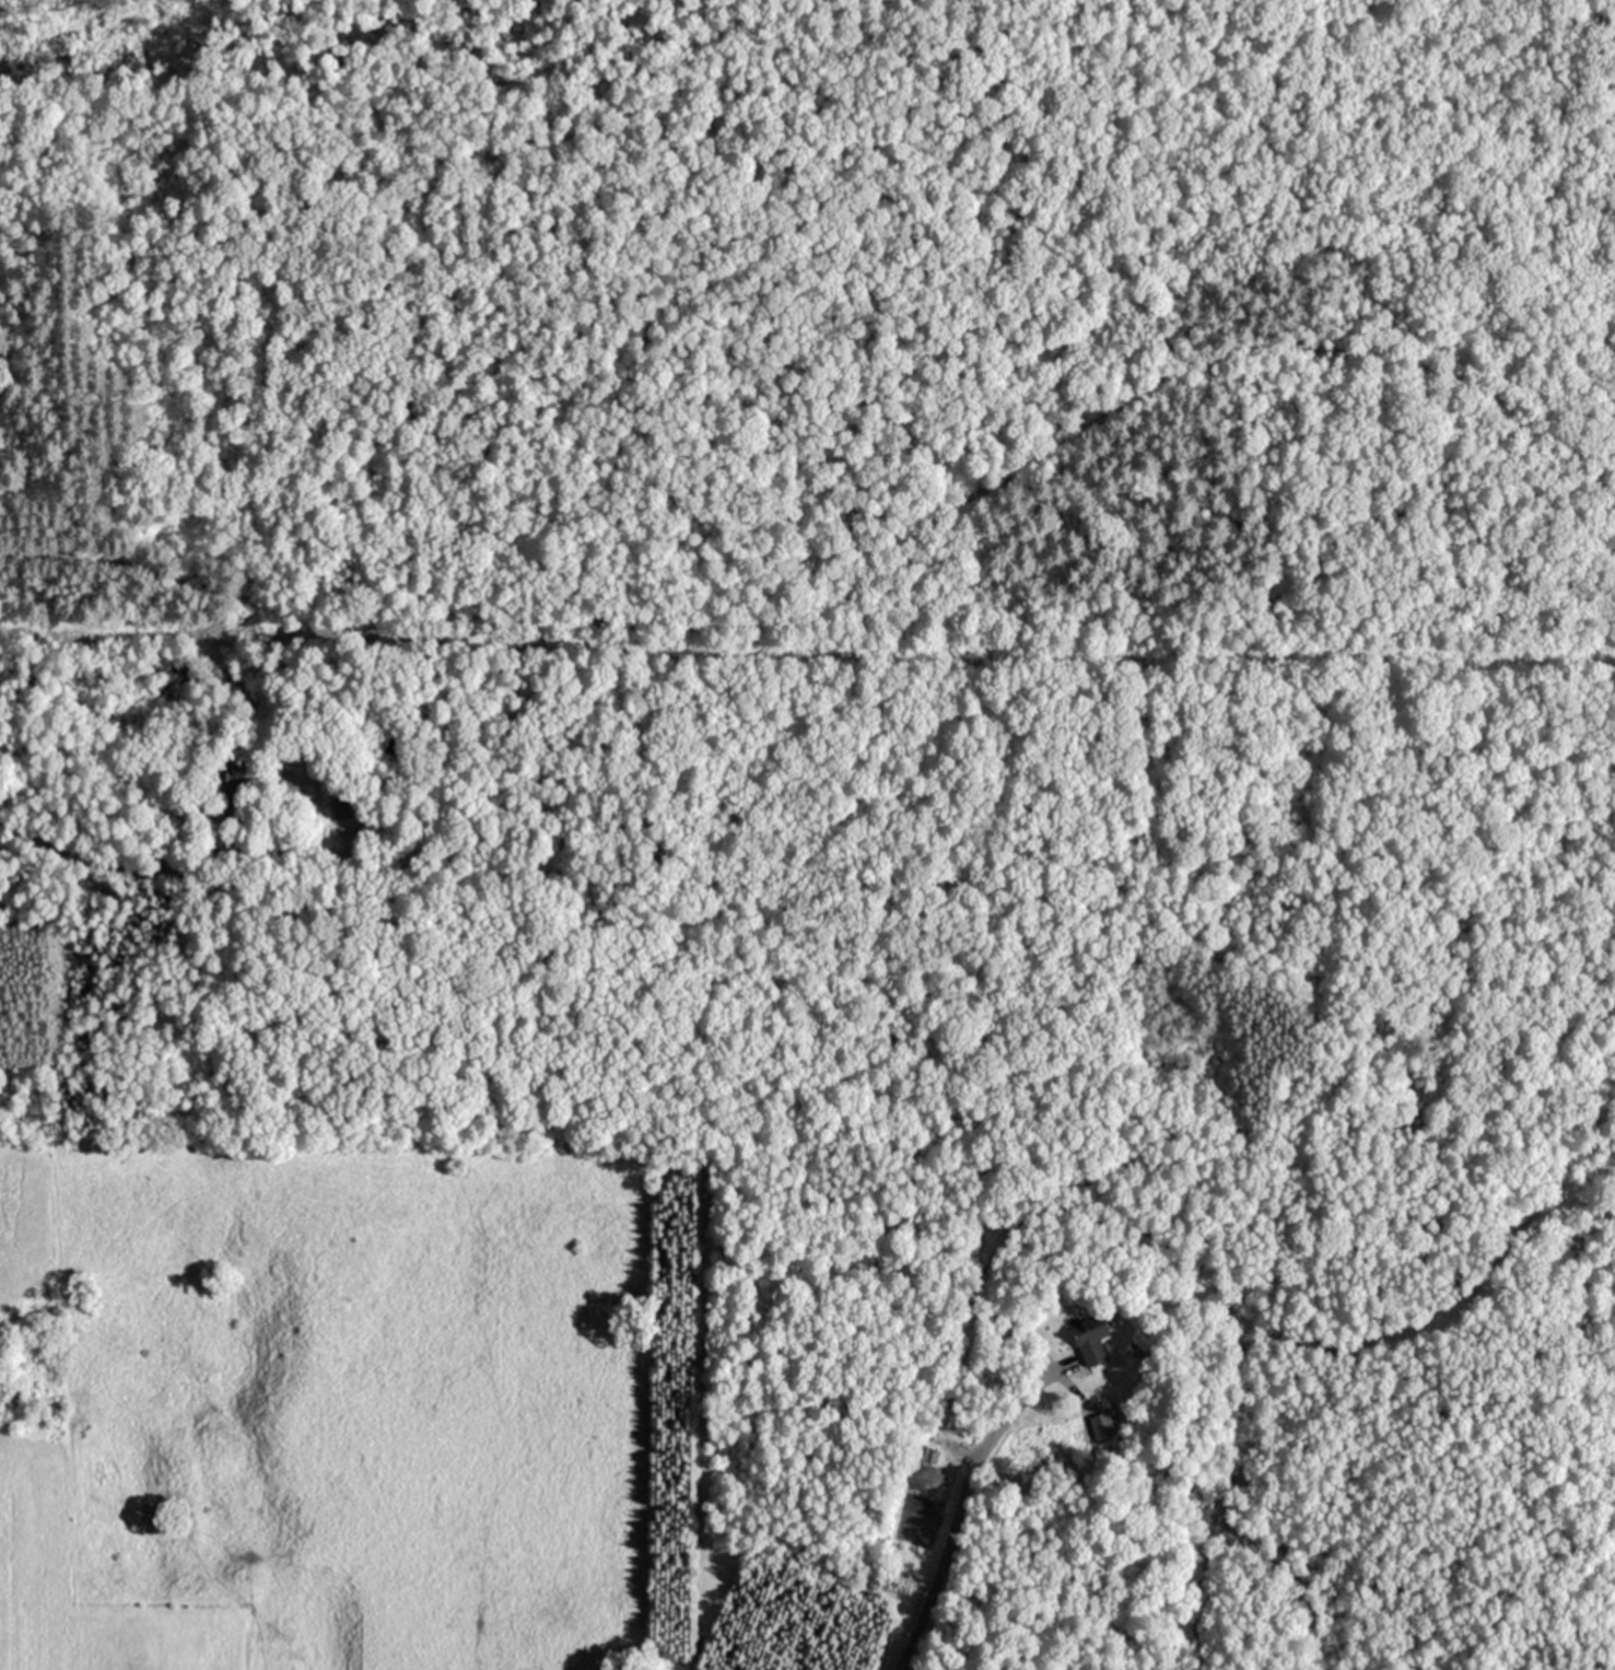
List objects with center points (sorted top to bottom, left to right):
road: (800, 649)
building: (291, 781)
building: (337, 805)
road: (153, 864)
building: (1092, 1335)
road: (957, 1511)

